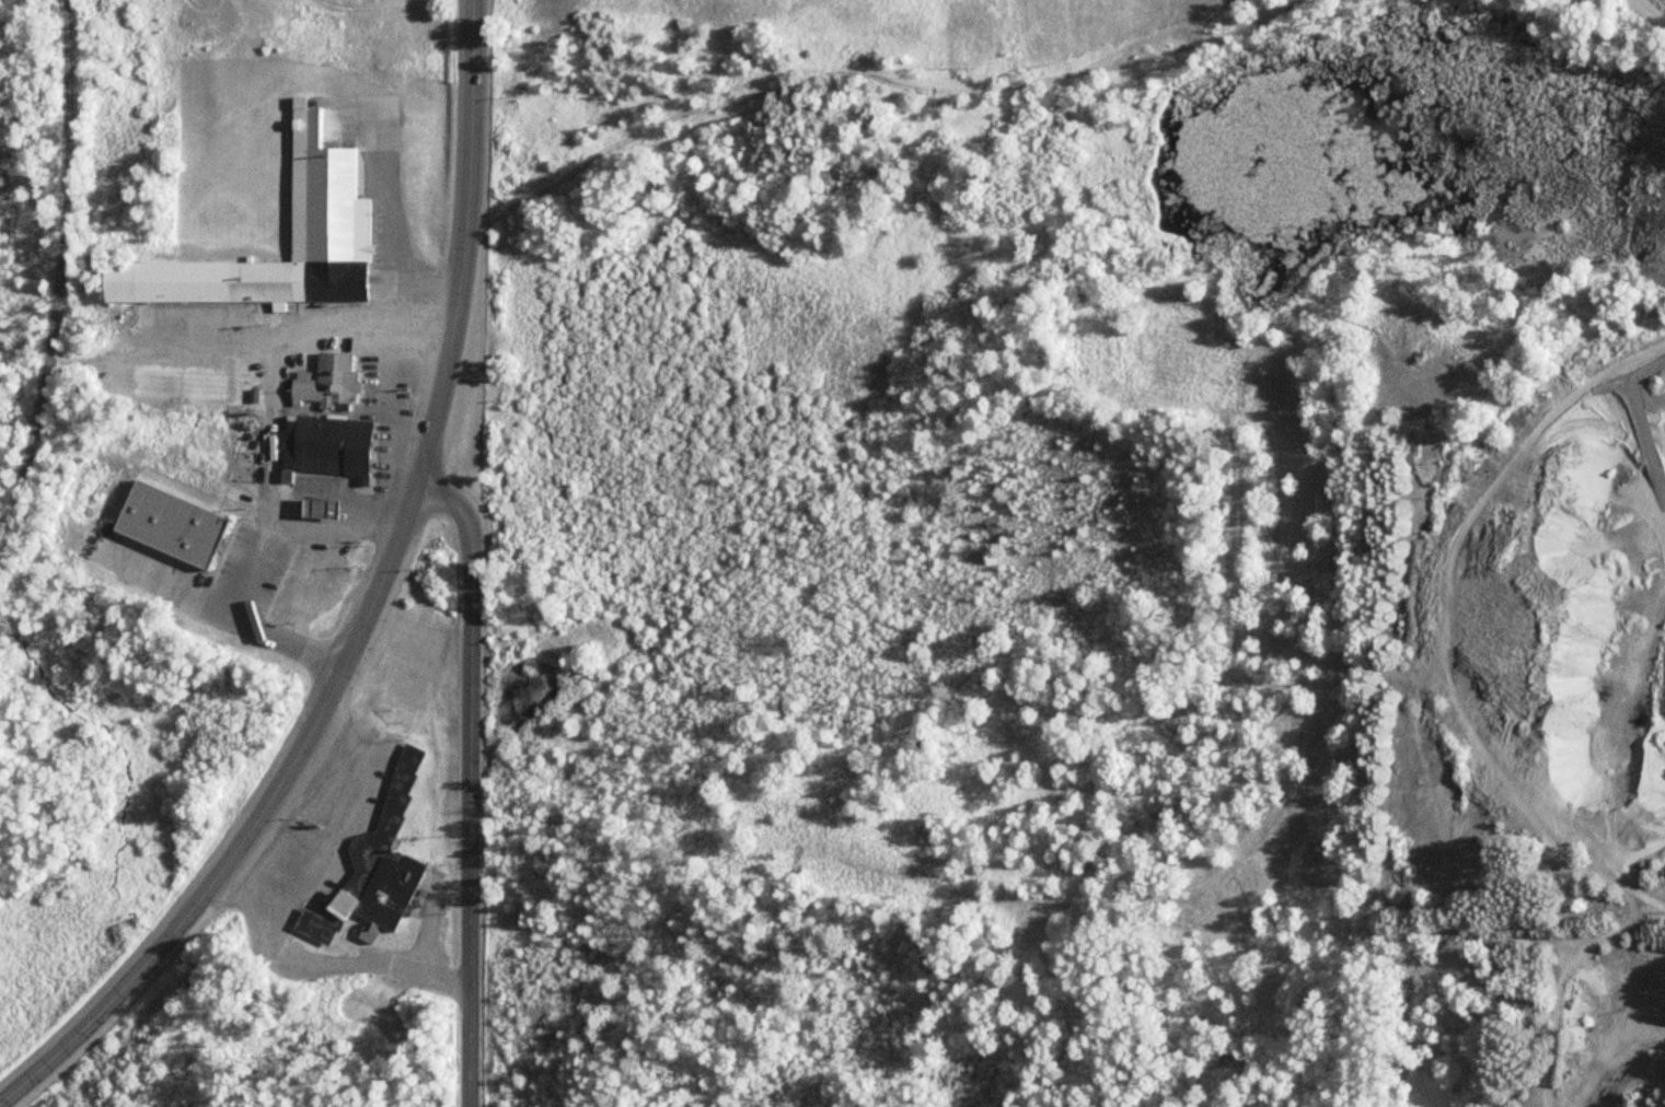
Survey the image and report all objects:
road: (1655, 10)
building: (463, 50)
road: (471, 128)
building: (329, 220)
road: (62, 282)
building: (327, 380)
building: (327, 444)
building: (317, 506)
gas station: (317, 506)
building: (181, 512)
building: (264, 574)
quarry: (1545, 655)
road: (313, 721)
road: (470, 778)
building: (373, 867)

